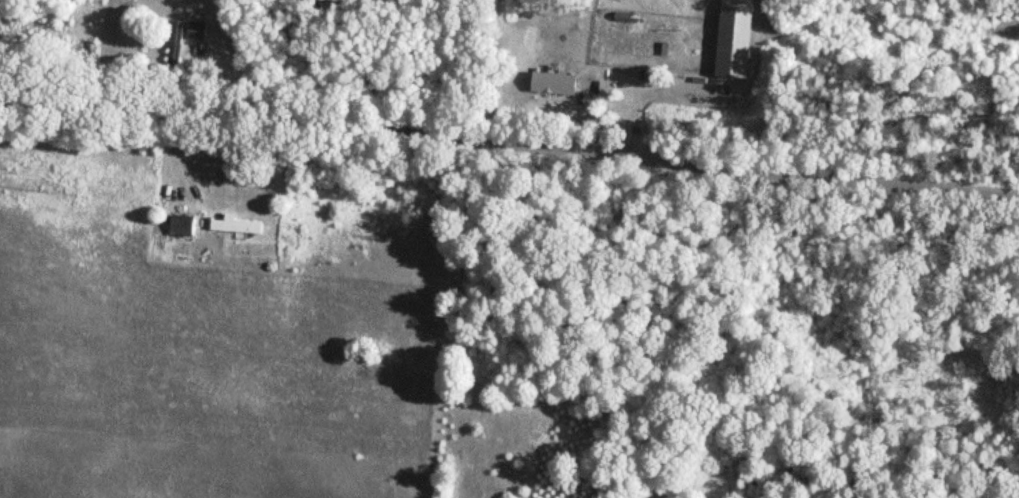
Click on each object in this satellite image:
building: (195, 31)
building: (733, 39)
building: (175, 43)
building: (552, 84)
road: (509, 138)
building: (180, 226)
building: (234, 226)

